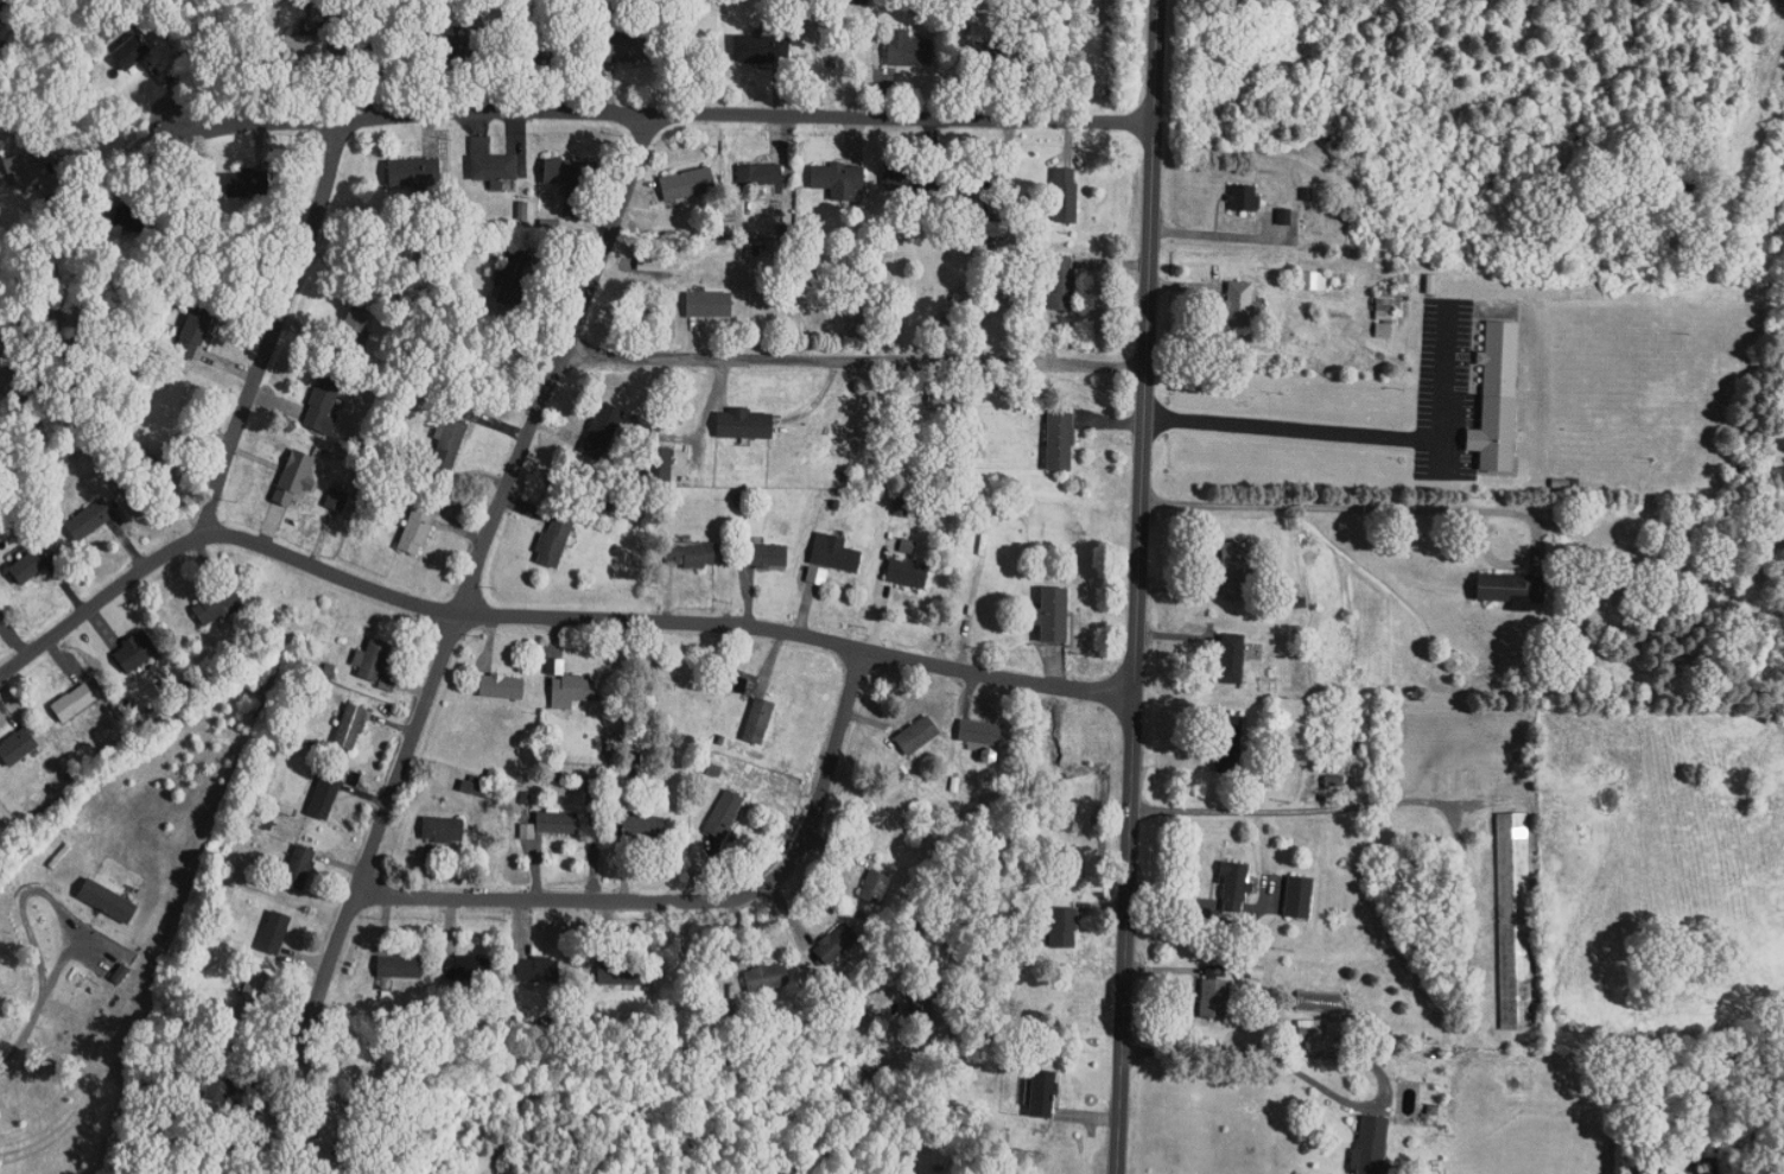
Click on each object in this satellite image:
building: (631, 45)
building: (762, 49)
building: (908, 49)
road: (660, 109)
road: (123, 152)
building: (495, 167)
building: (24, 170)
building: (417, 174)
building: (762, 178)
building: (839, 180)
building: (248, 183)
building: (573, 183)
building: (688, 184)
building: (1065, 195)
building: (1245, 197)
building: (982, 203)
building: (736, 208)
building: (1313, 280)
building: (1062, 284)
building: (709, 304)
building: (1243, 304)
building: (1388, 304)
building: (1384, 330)
building: (193, 335)
road: (852, 358)
road: (255, 382)
building: (1498, 399)
building: (324, 406)
building: (744, 424)
building: (602, 429)
road: (1354, 437)
building: (1060, 442)
building: (451, 443)
building: (296, 478)
building: (337, 500)
building: (903, 506)
road: (1357, 506)
building: (90, 520)
building: (417, 532)
building: (554, 542)
building: (908, 547)
building: (836, 553)
building: (696, 554)
building: (767, 556)
building: (28, 567)
building: (1236, 569)
building: (907, 573)
building: (817, 576)
road: (1134, 586)
building: (1512, 590)
building: (218, 604)
building: (1054, 615)
road: (661, 621)
road: (455, 640)
building: (135, 652)
building: (1233, 659)
building: (373, 660)
building: (555, 666)
building: (388, 684)
building: (502, 687)
building: (573, 691)
building: (75, 703)
building: (760, 721)
building: (351, 726)
building: (979, 732)
building: (918, 736)
building: (1230, 744)
building: (18, 747)
building: (472, 787)
building: (325, 797)
road: (1309, 808)
building: (725, 813)
building: (557, 823)
building: (443, 830)
building: (528, 831)
building: (299, 868)
building: (1236, 886)
building: (876, 887)
road: (42, 889)
road: (692, 897)
building: (1300, 897)
building: (108, 901)
building: (1064, 928)
building: (275, 933)
building: (836, 944)
building: (400, 967)
building: (468, 967)
building: (538, 970)
building: (768, 977)
building: (253, 994)
building: (1214, 998)
building: (1320, 1002)
road: (25, 1030)
road: (1326, 1086)
building: (1042, 1093)
building: (1372, 1144)

